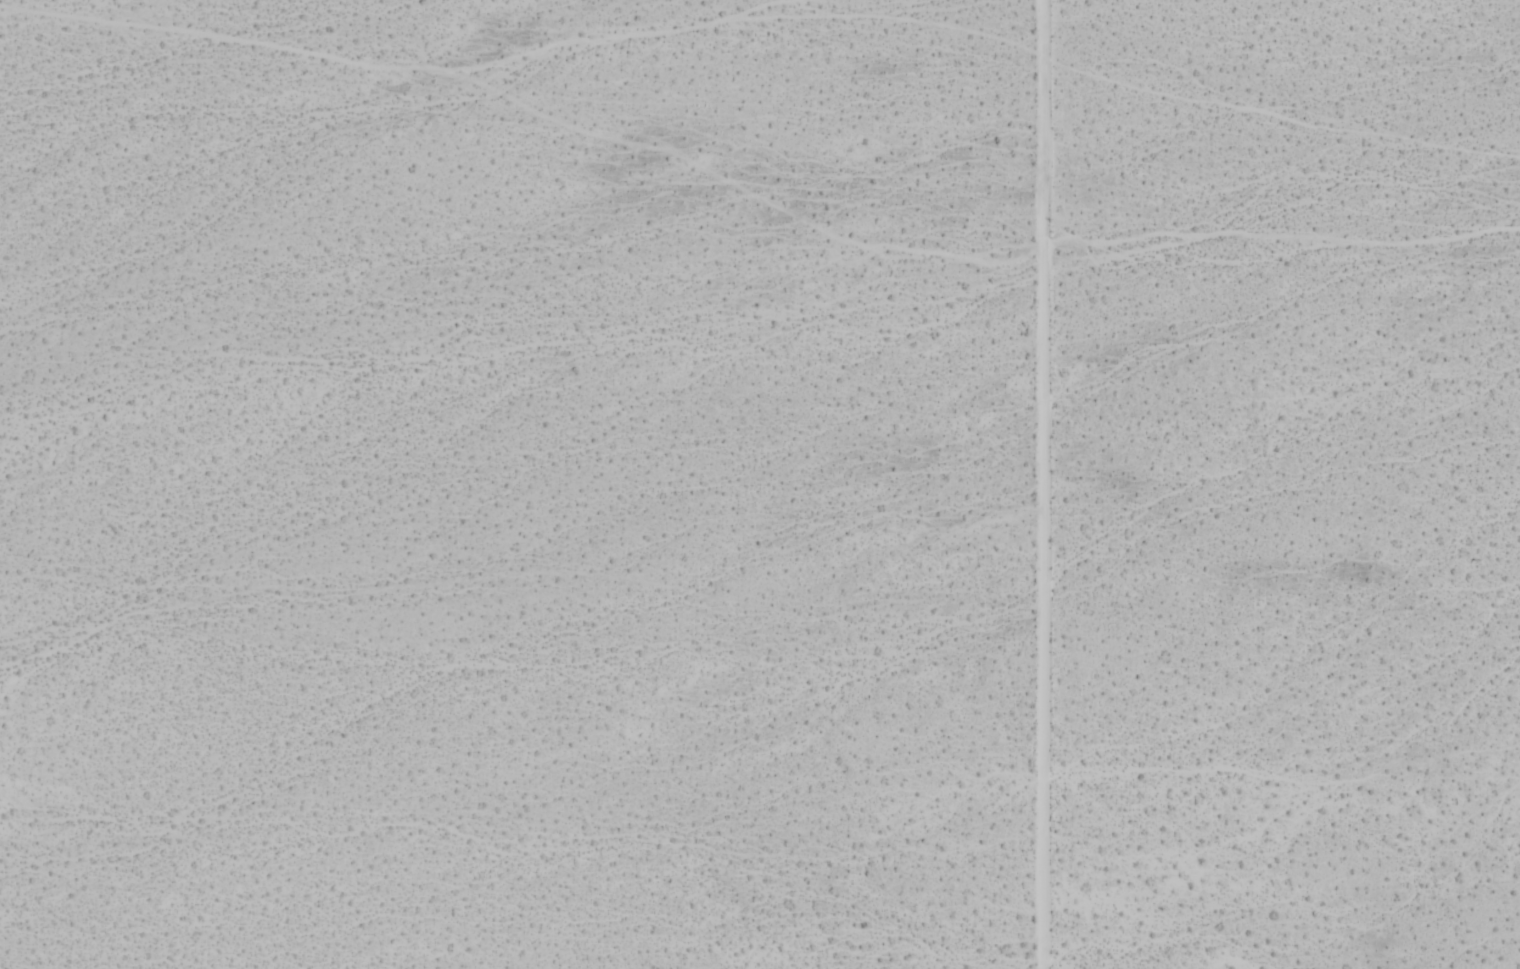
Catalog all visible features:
road: (1052, 484)

